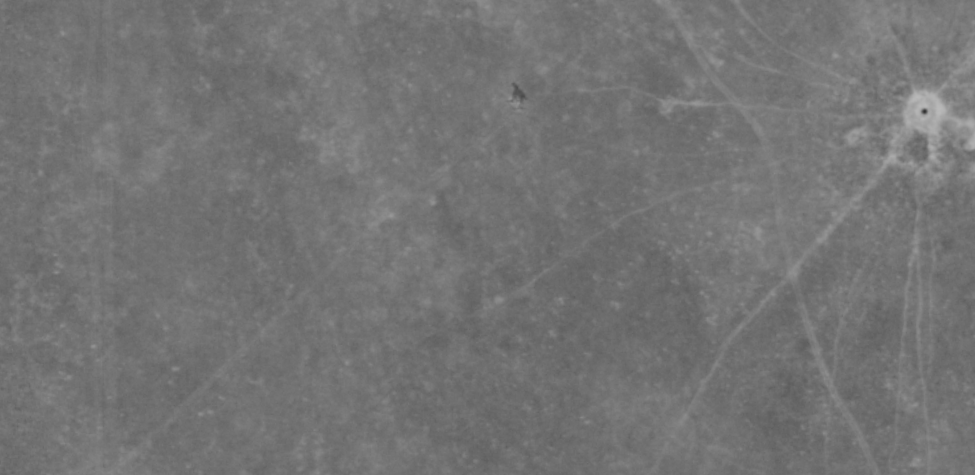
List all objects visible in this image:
power tower: (517, 100)

